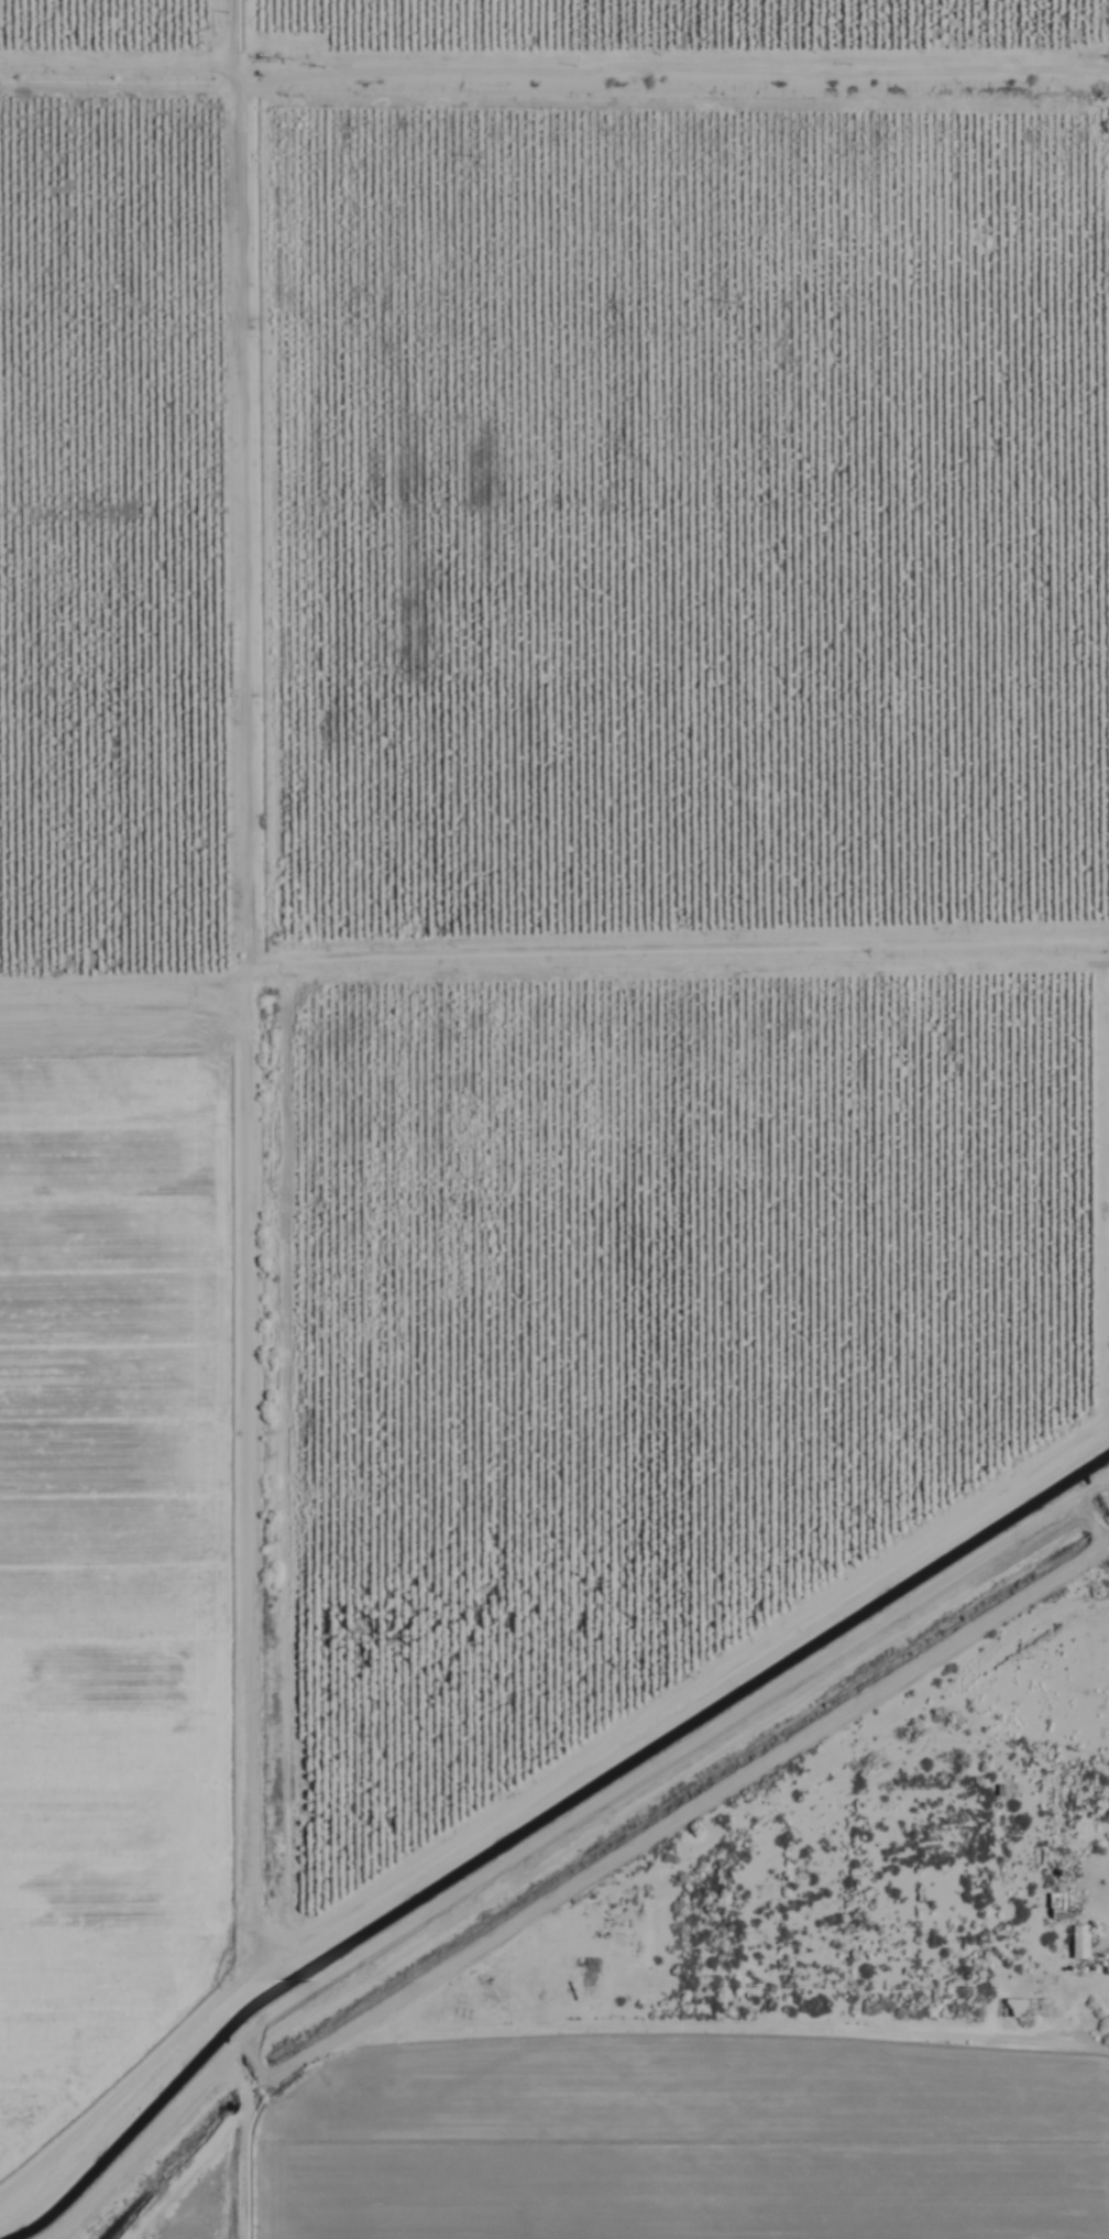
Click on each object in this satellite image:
crop: (554, 1119)
building: (1057, 1905)
building: (1076, 1942)
road: (1107, 2020)

